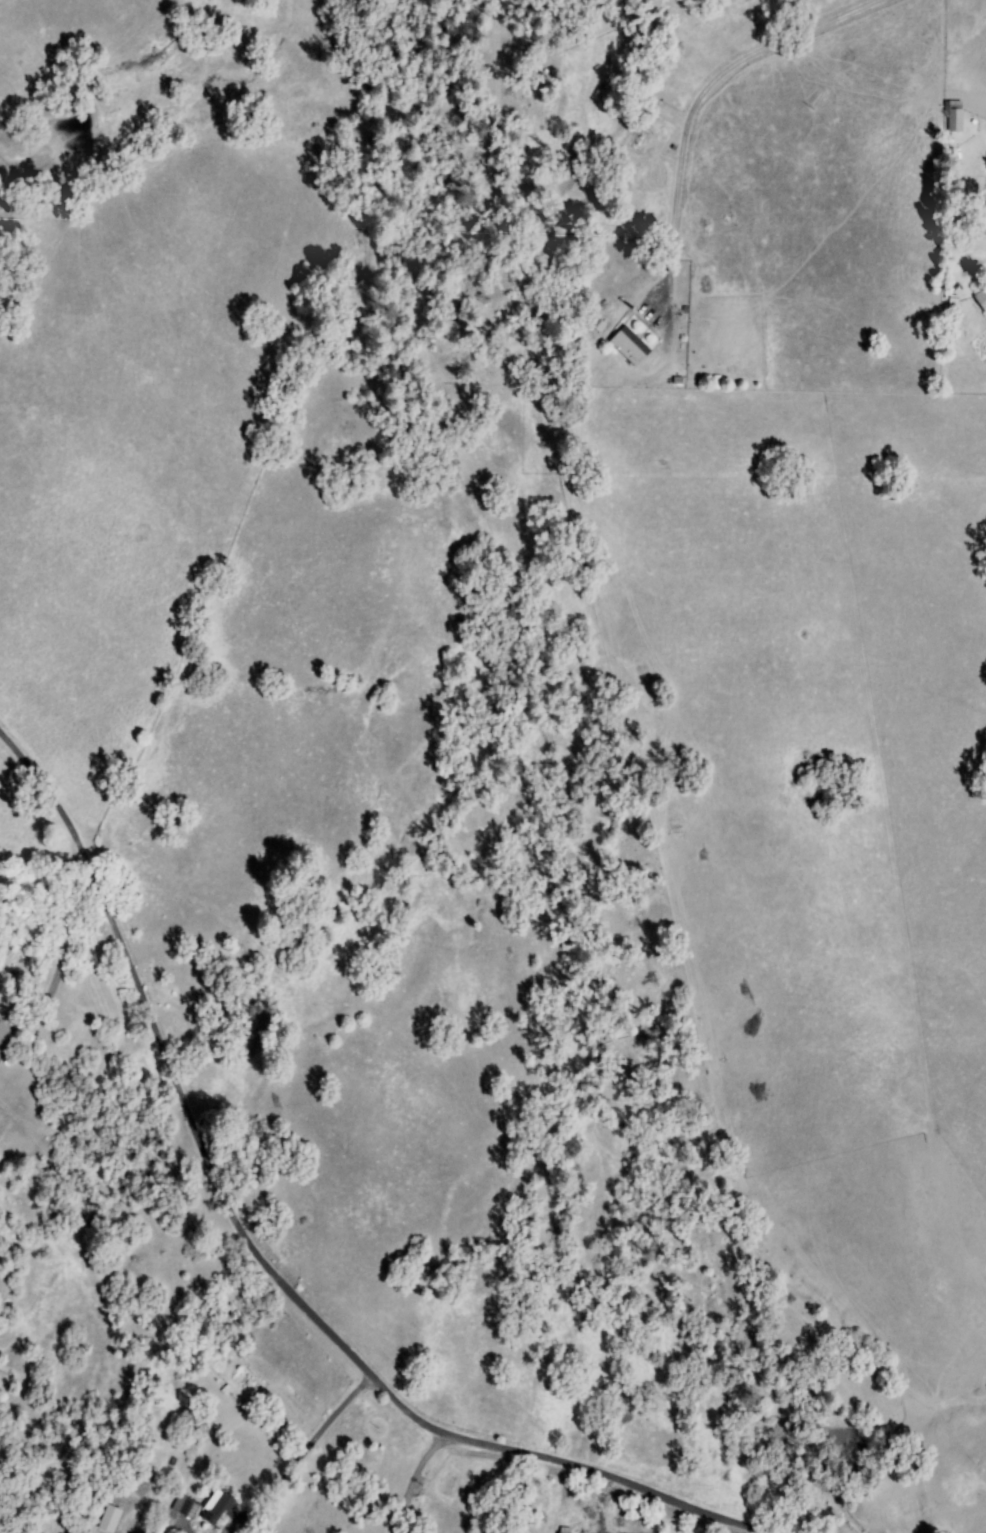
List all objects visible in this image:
building: (955, 116)
road: (689, 138)
building: (983, 299)
building: (954, 306)
building: (589, 327)
building: (631, 347)
road: (686, 438)
building: (3, 1031)
road: (265, 1255)
road: (416, 1478)
building: (191, 1508)
building: (221, 1510)
building: (112, 1519)

